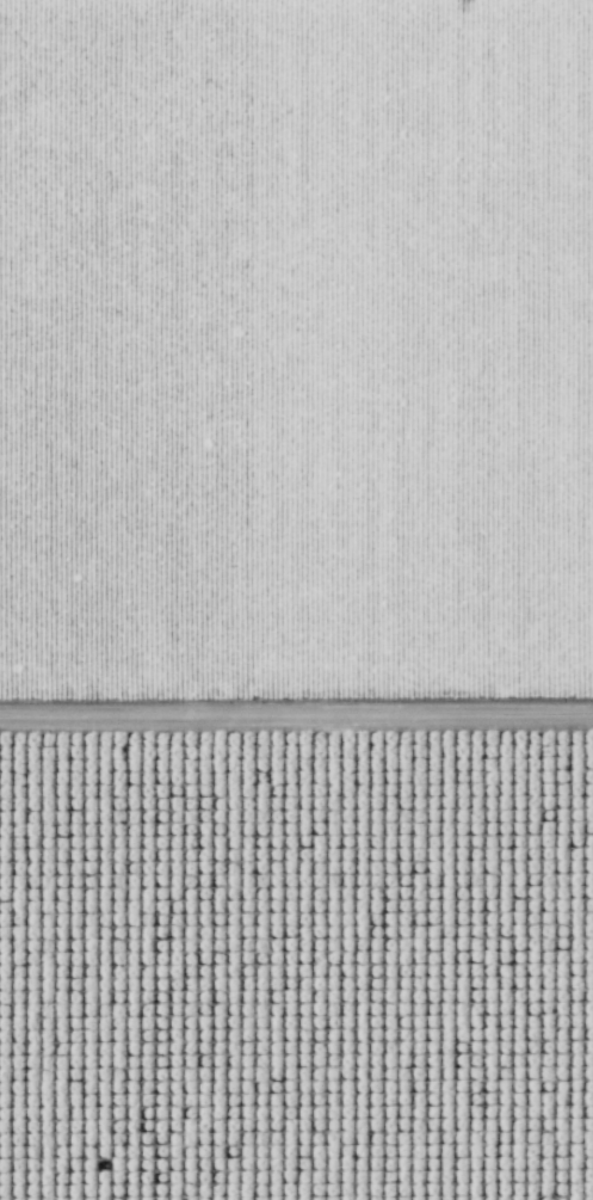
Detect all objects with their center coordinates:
road: (296, 722)

